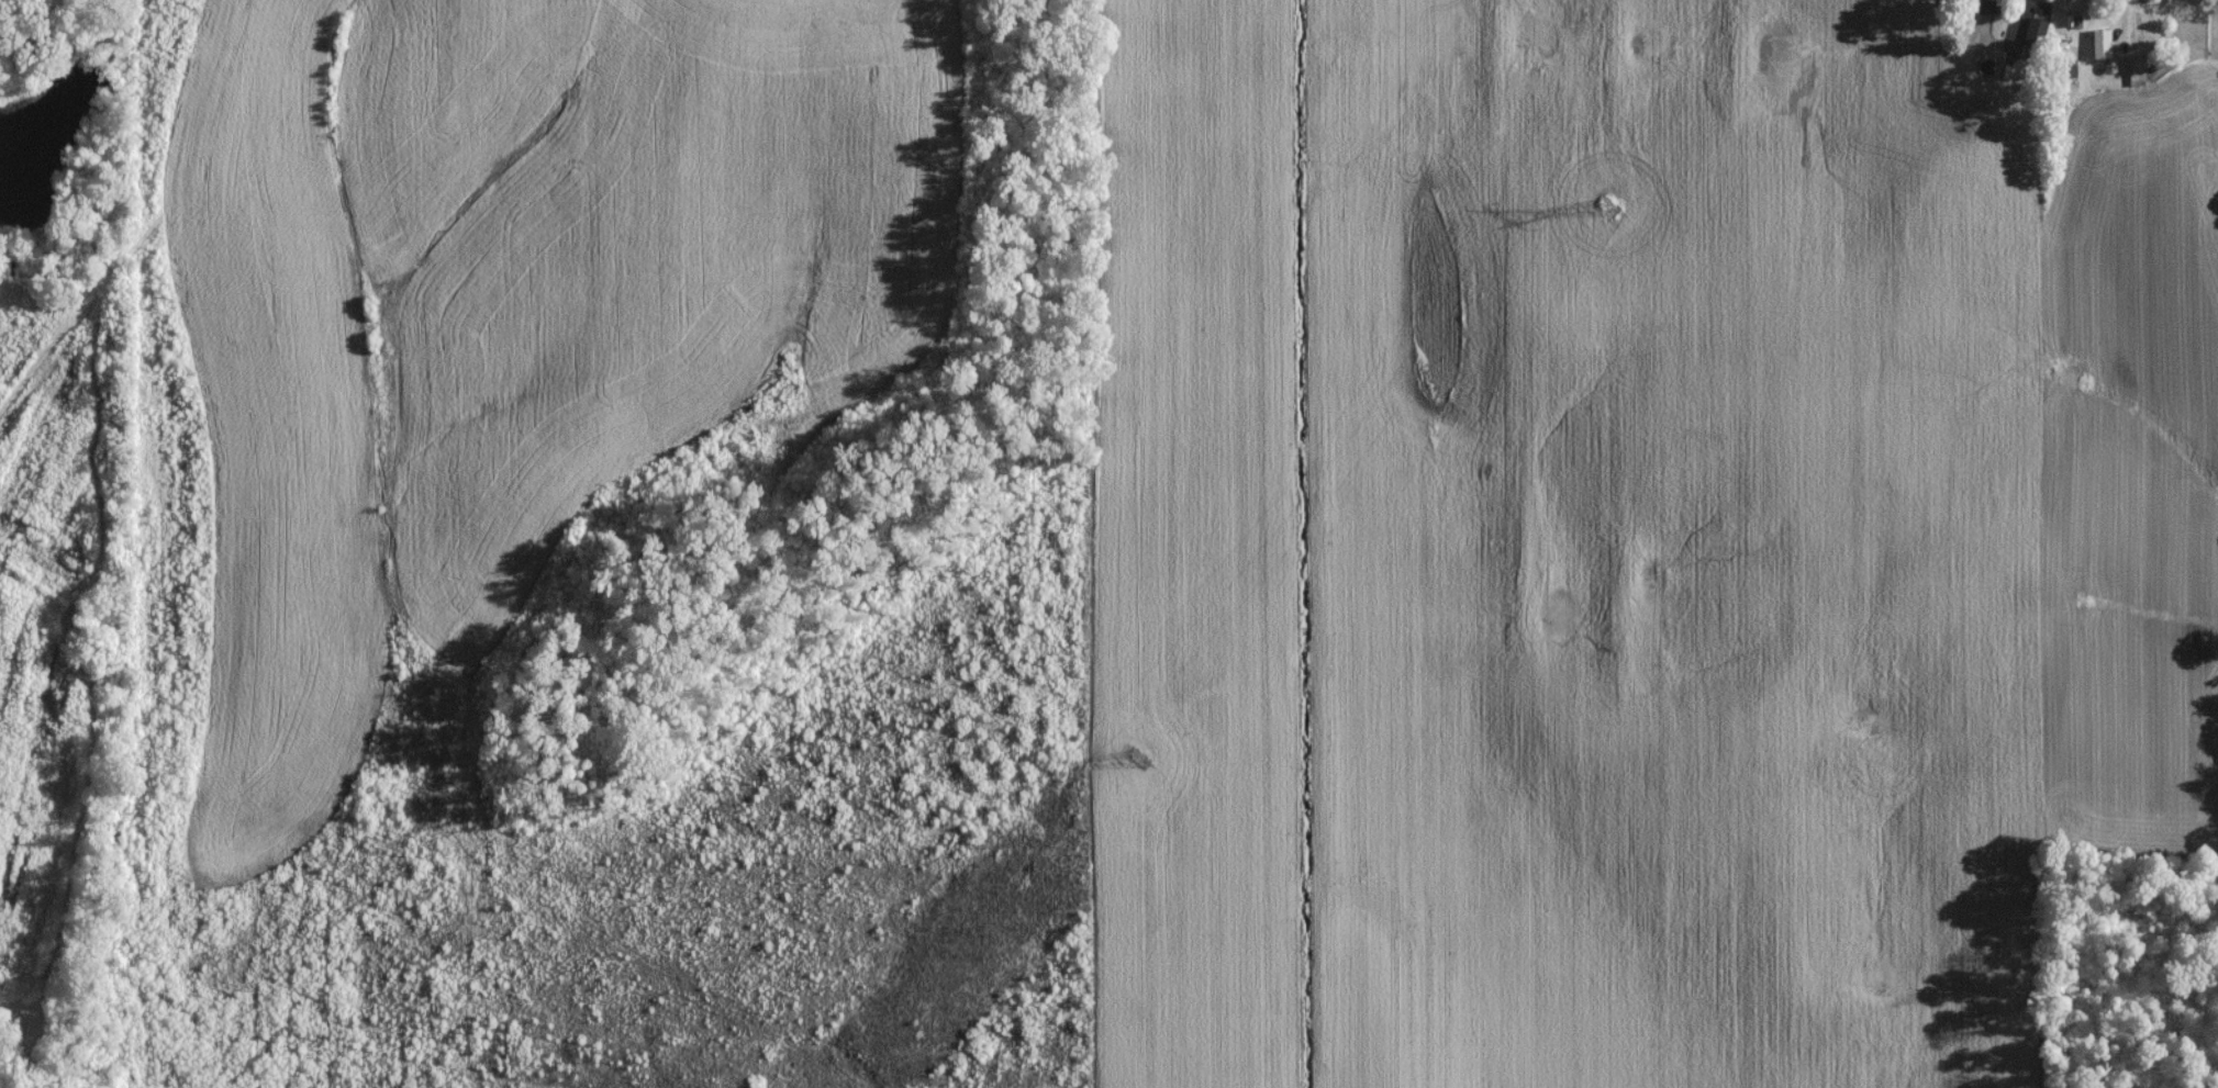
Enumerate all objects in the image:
road: (2025, 24)
road: (2118, 29)
building: (2035, 35)
building: (2100, 49)
building: (2136, 78)
power tower: (1603, 215)
power tower: (1140, 765)

